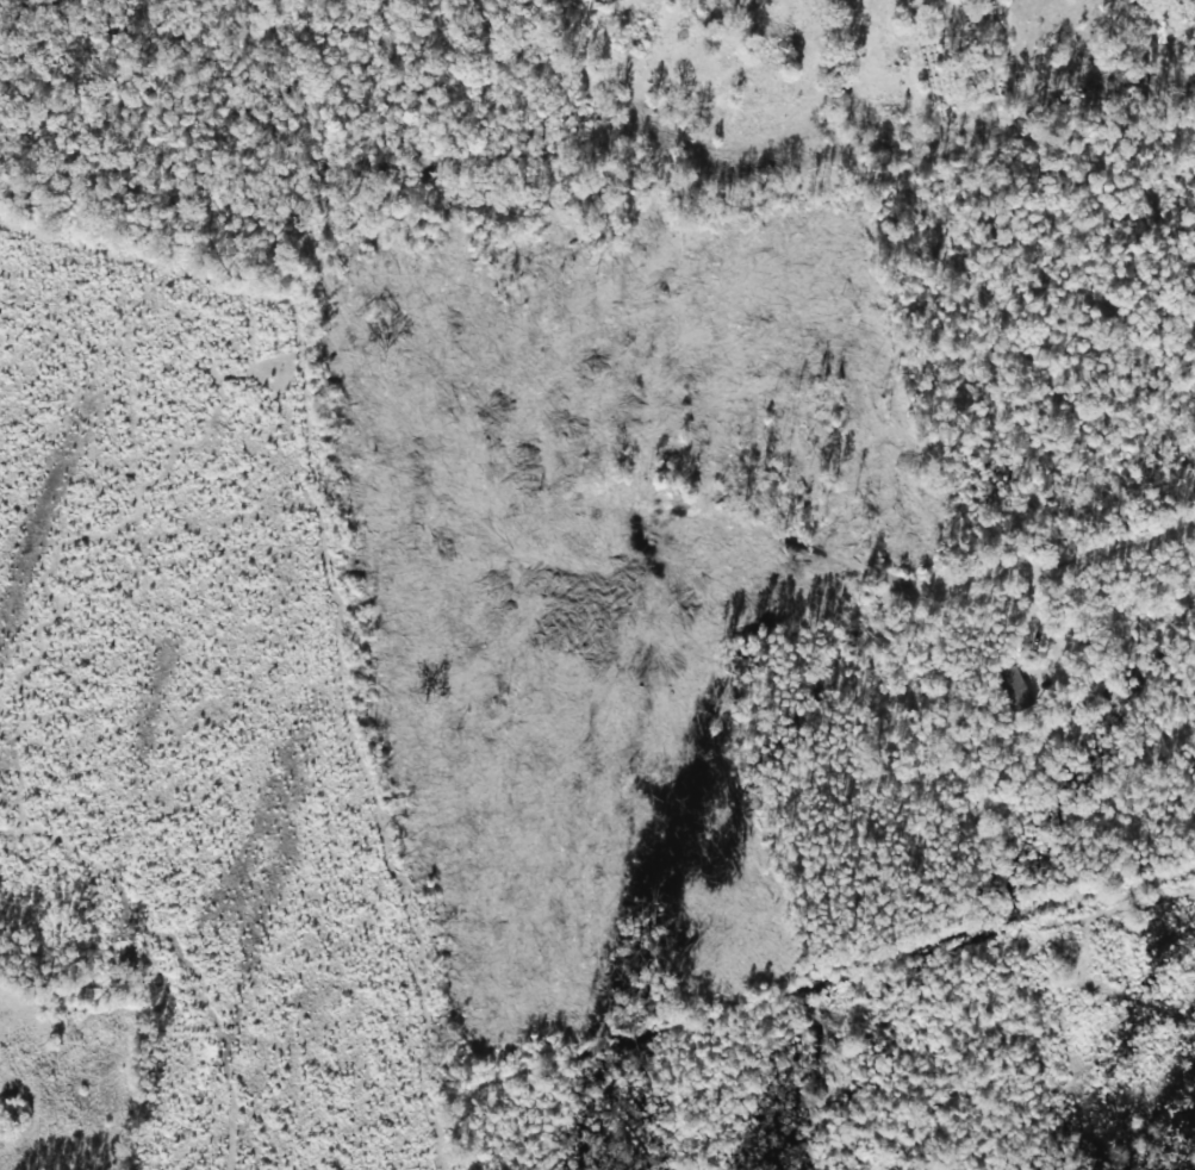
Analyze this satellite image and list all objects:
building: (1014, 687)

